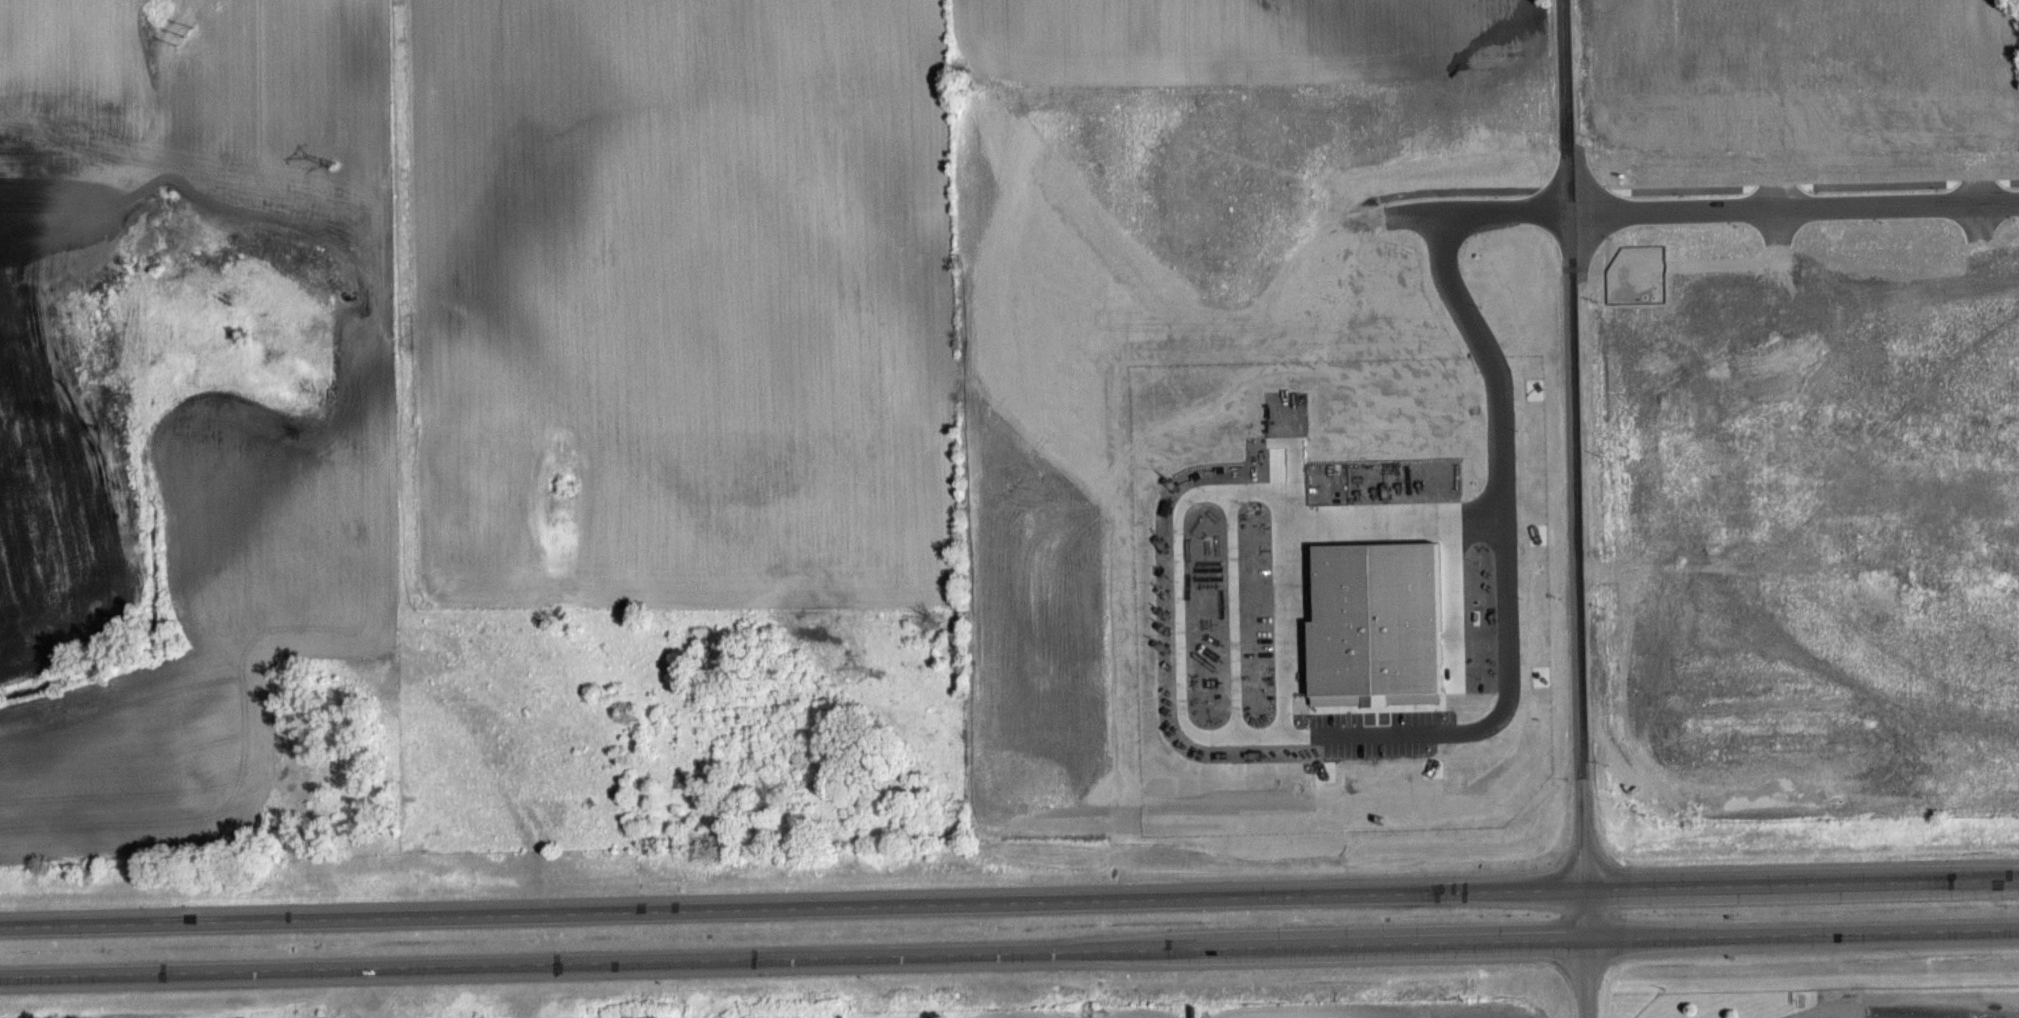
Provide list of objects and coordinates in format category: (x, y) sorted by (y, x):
power tower: (184, 34)
power tower: (329, 162)
road: (1793, 204)
road: (1573, 508)
power tower: (882, 678)
road: (1009, 900)
road: (1800, 930)
road: (791, 955)
building: (1201, 1011)

